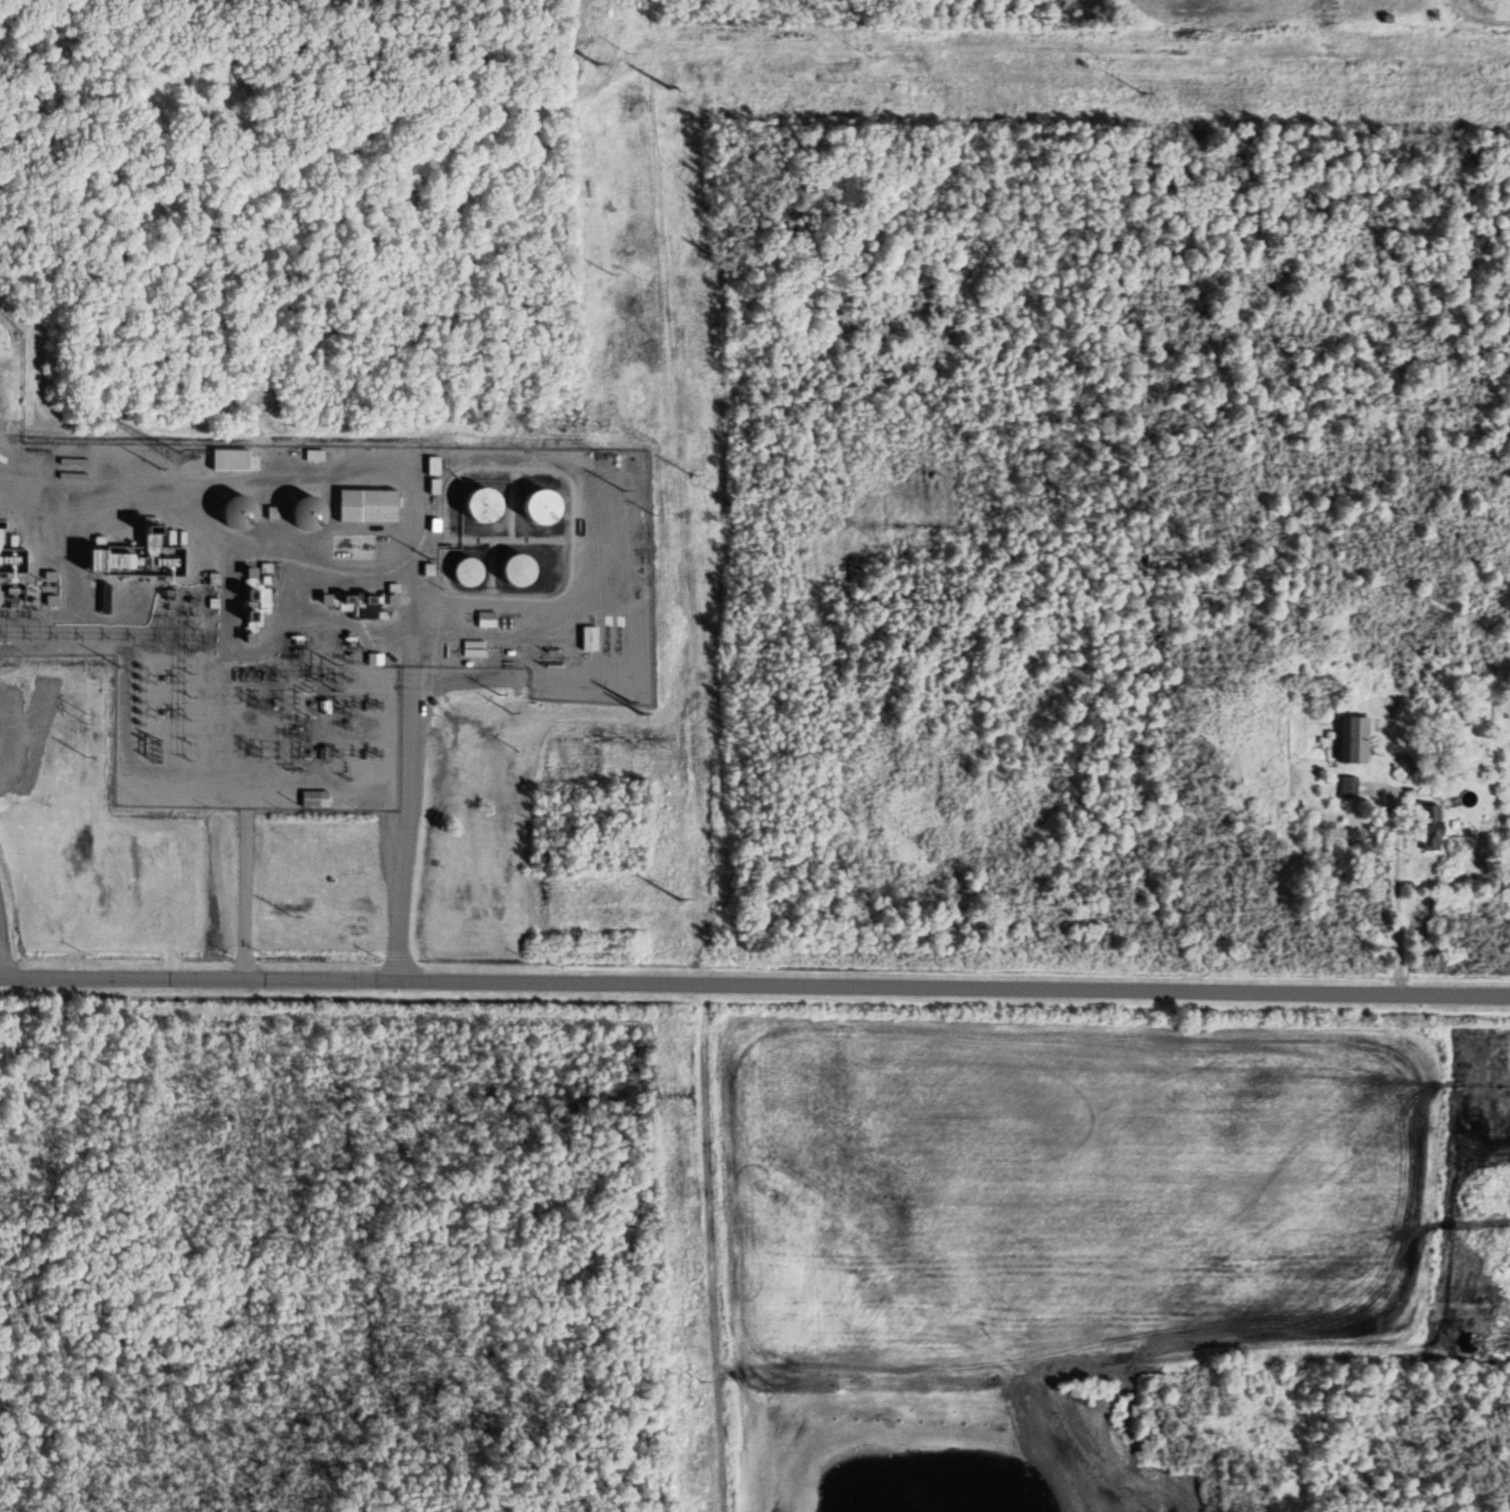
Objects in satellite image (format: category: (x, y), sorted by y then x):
crop: (1322, 14)
power tower: (624, 49)
power tower: (871, 53)
power tower: (1104, 56)
power tower: (597, 60)
power tower: (1354, 63)
power tower: (670, 84)
power tower: (1143, 91)
power tower: (609, 272)
power tower: (637, 278)
building: (314, 454)
power tower: (690, 469)
power tower: (622, 488)
building: (365, 505)
building: (479, 505)
building: (536, 506)
building: (234, 512)
building: (304, 513)
chimney: (154, 528)
power plant: (359, 541)
building: (513, 570)
building: (464, 571)
building: (484, 618)
building: (587, 637)
building: (472, 648)
power tower: (338, 671)
power tower: (497, 690)
power substation: (222, 698)
power tower: (366, 698)
power tower: (630, 699)
power tower: (130, 703)
power tower: (511, 709)
power tower: (642, 712)
power tower: (86, 718)
building: (1352, 740)
power tower: (657, 741)
power tower: (640, 748)
power tower: (520, 751)
power tower: (372, 752)
power tower: (88, 756)
building: (1405, 762)
building: (1348, 787)
building: (313, 798)
building: (1428, 826)
road: (405, 833)
road: (244, 898)
power tower: (677, 898)
power tower: (292, 915)
road: (755, 979)
power tower: (701, 1379)

